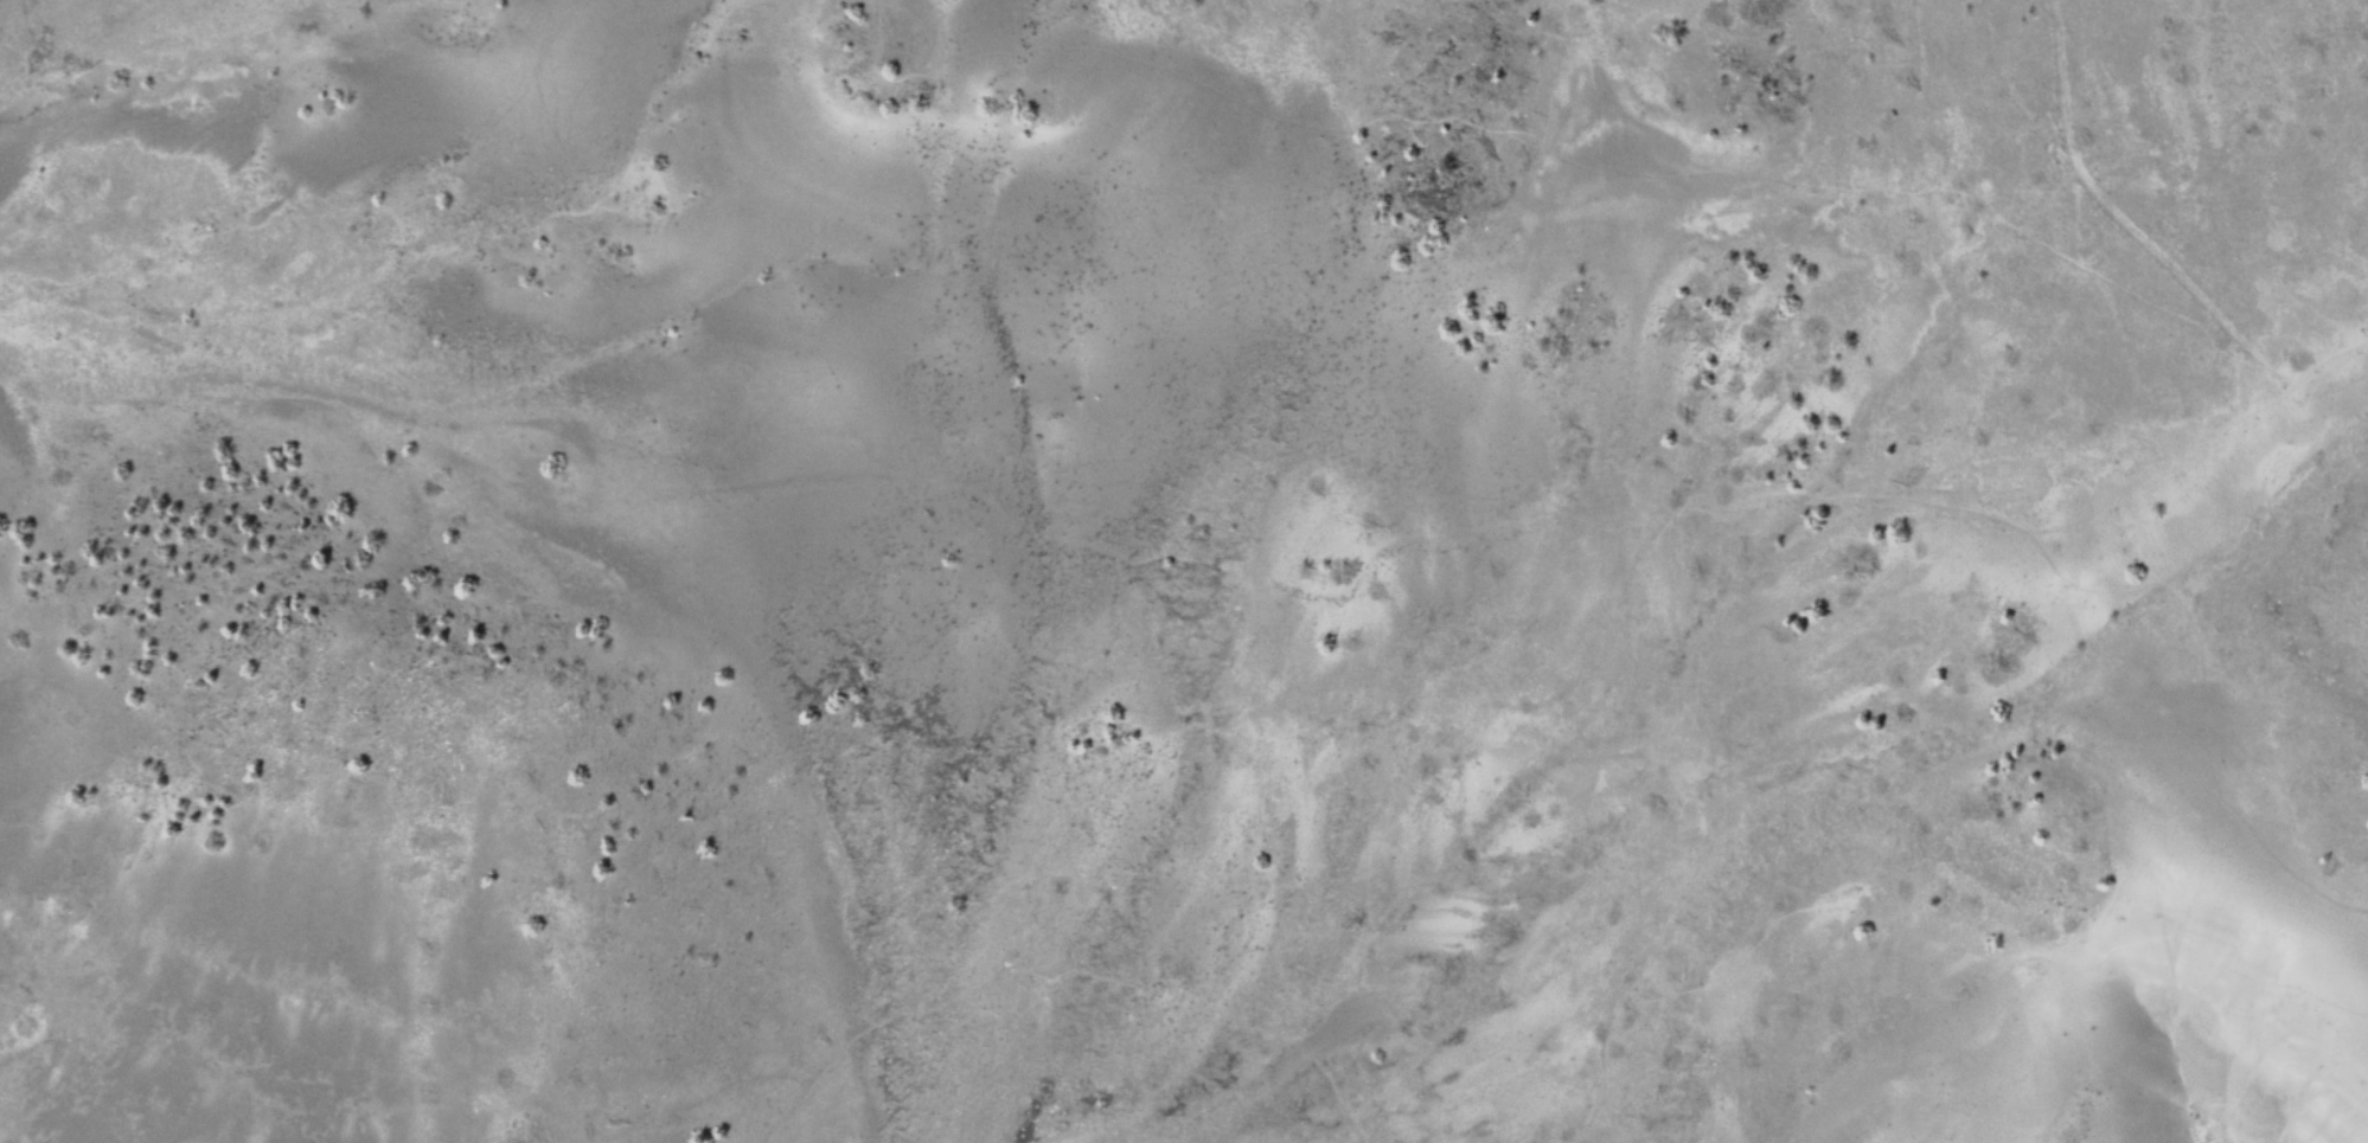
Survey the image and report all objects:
road: (174, 85)
road: (1768, 181)
road: (1956, 944)
road: (1089, 976)
road: (462, 1093)

